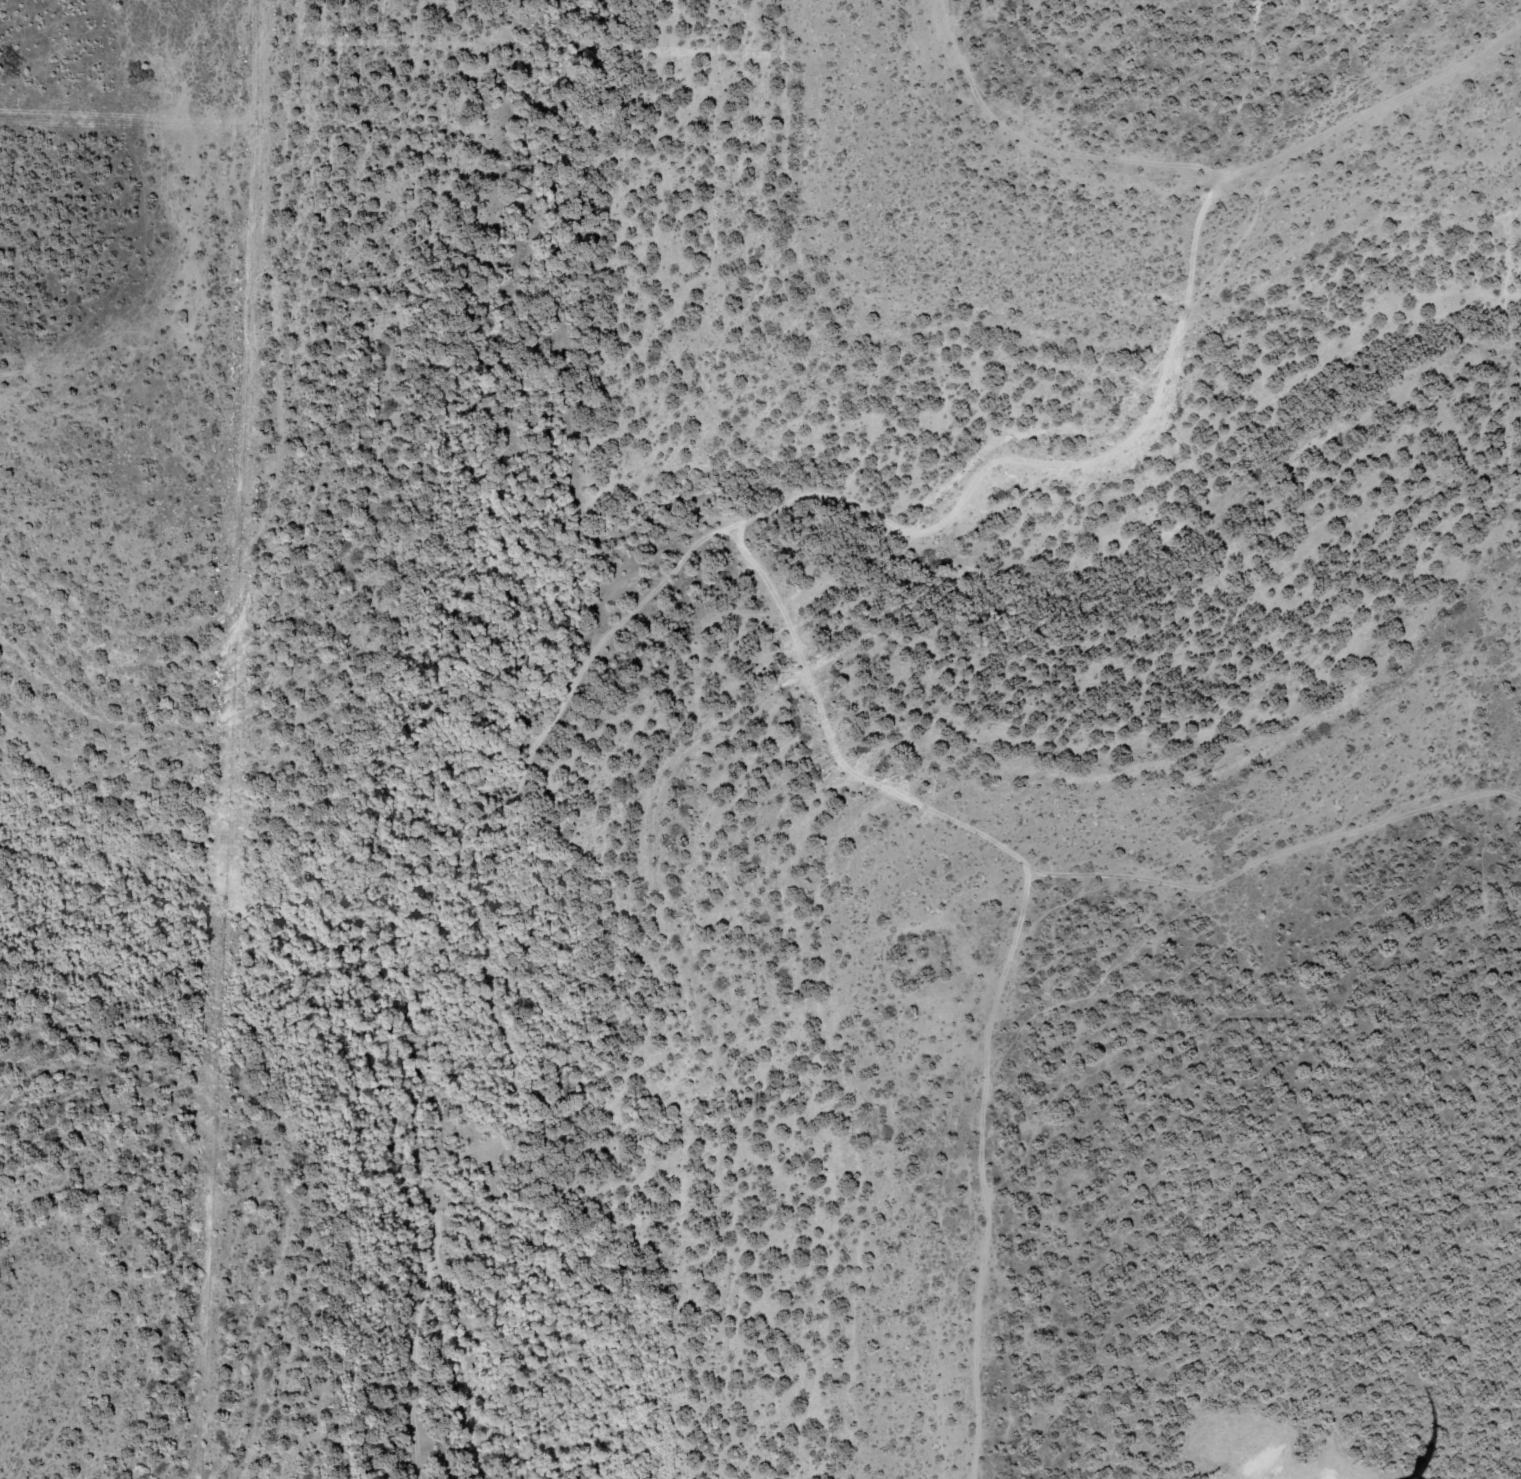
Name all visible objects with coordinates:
road: (1048, 153)
road: (722, 583)
road: (873, 754)
road: (1027, 949)

